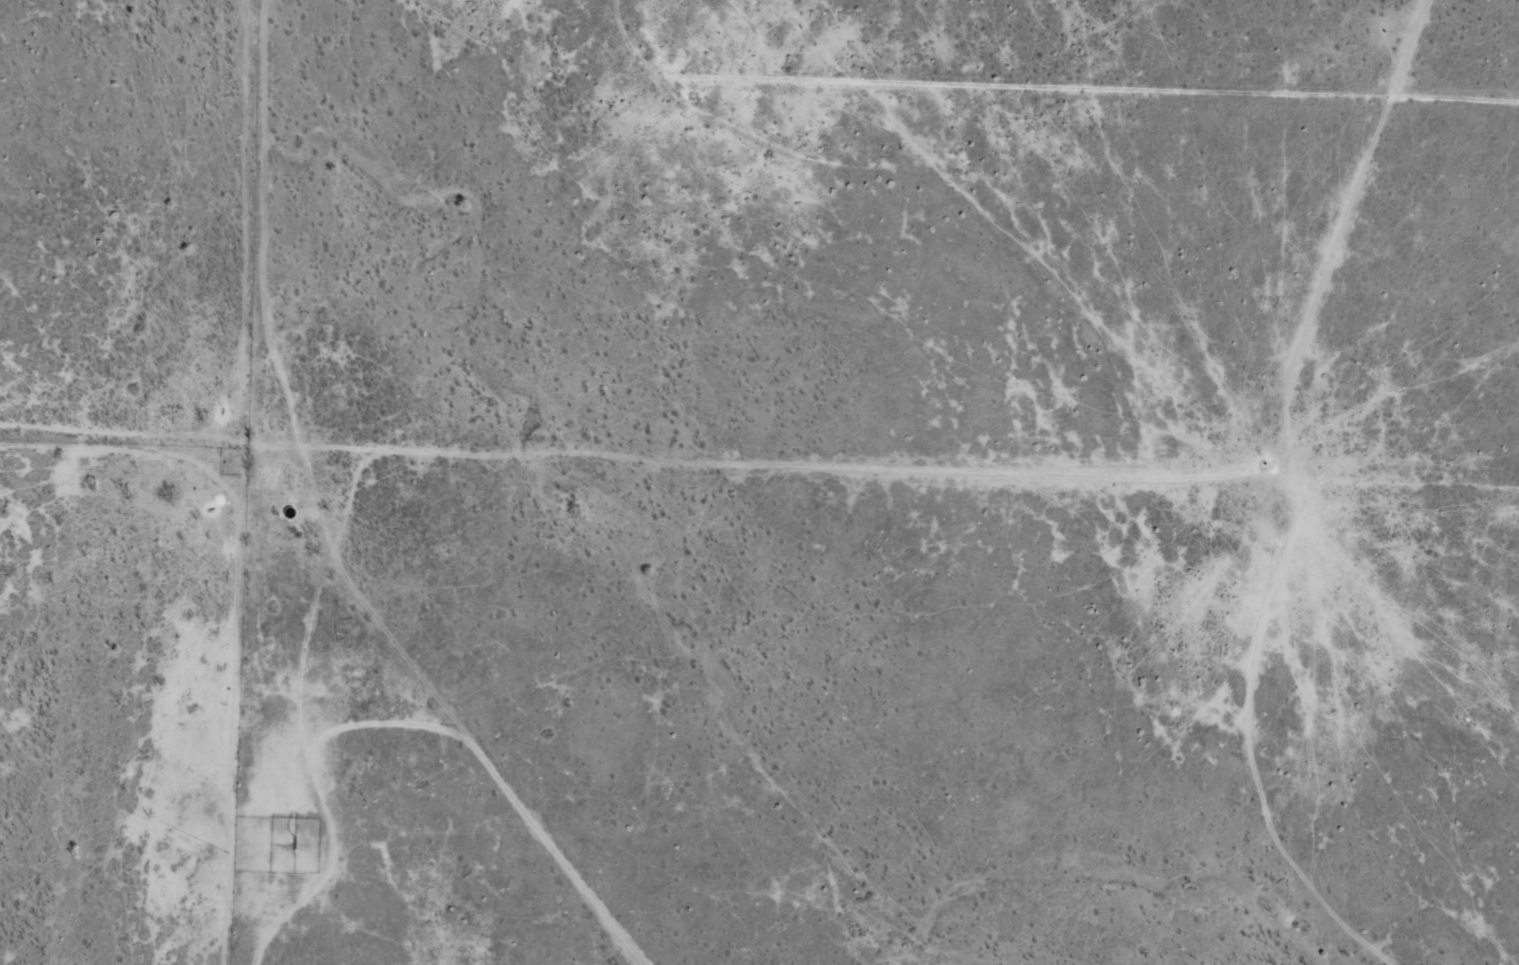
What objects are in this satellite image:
road: (346, 607)

